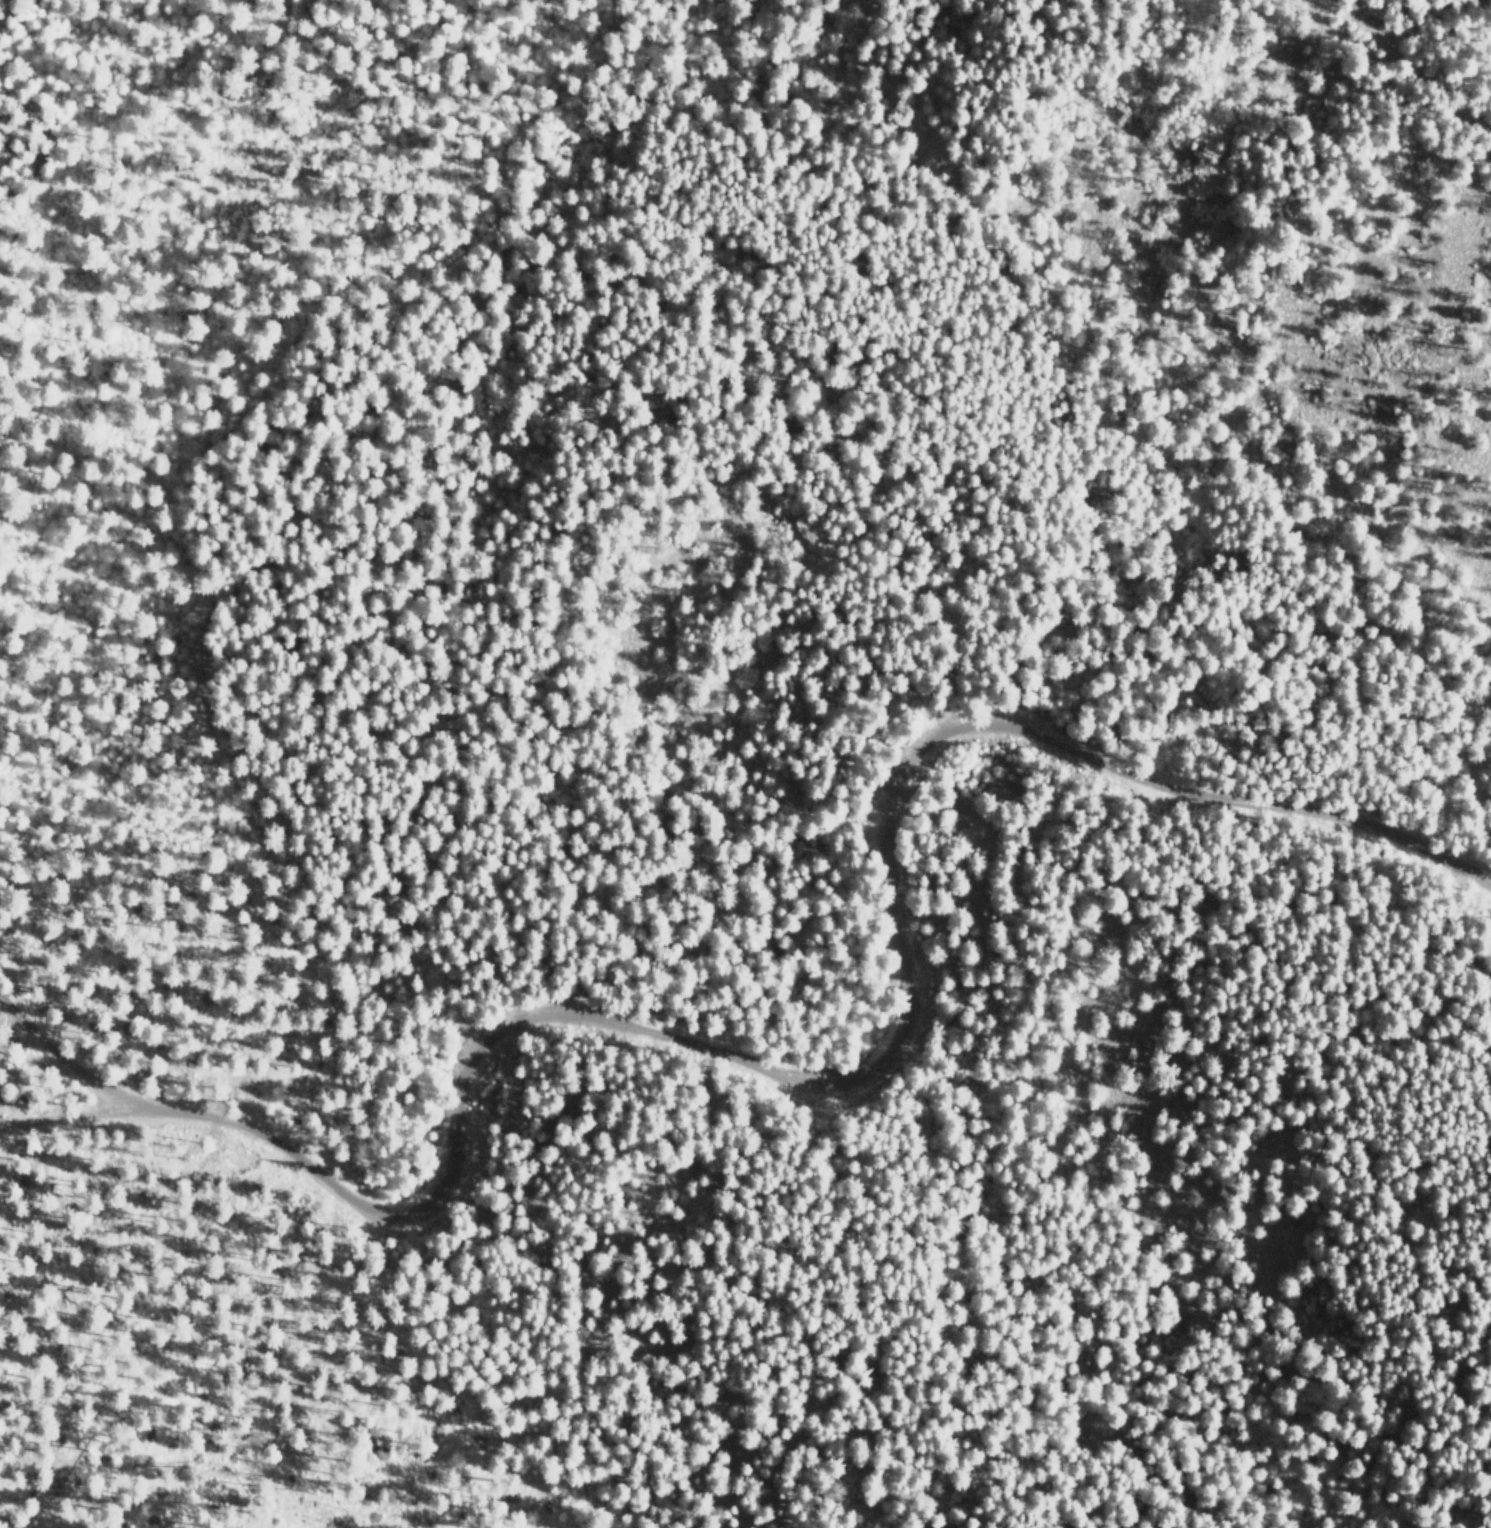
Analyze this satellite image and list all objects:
road: (64, 1054)
road: (820, 1079)

